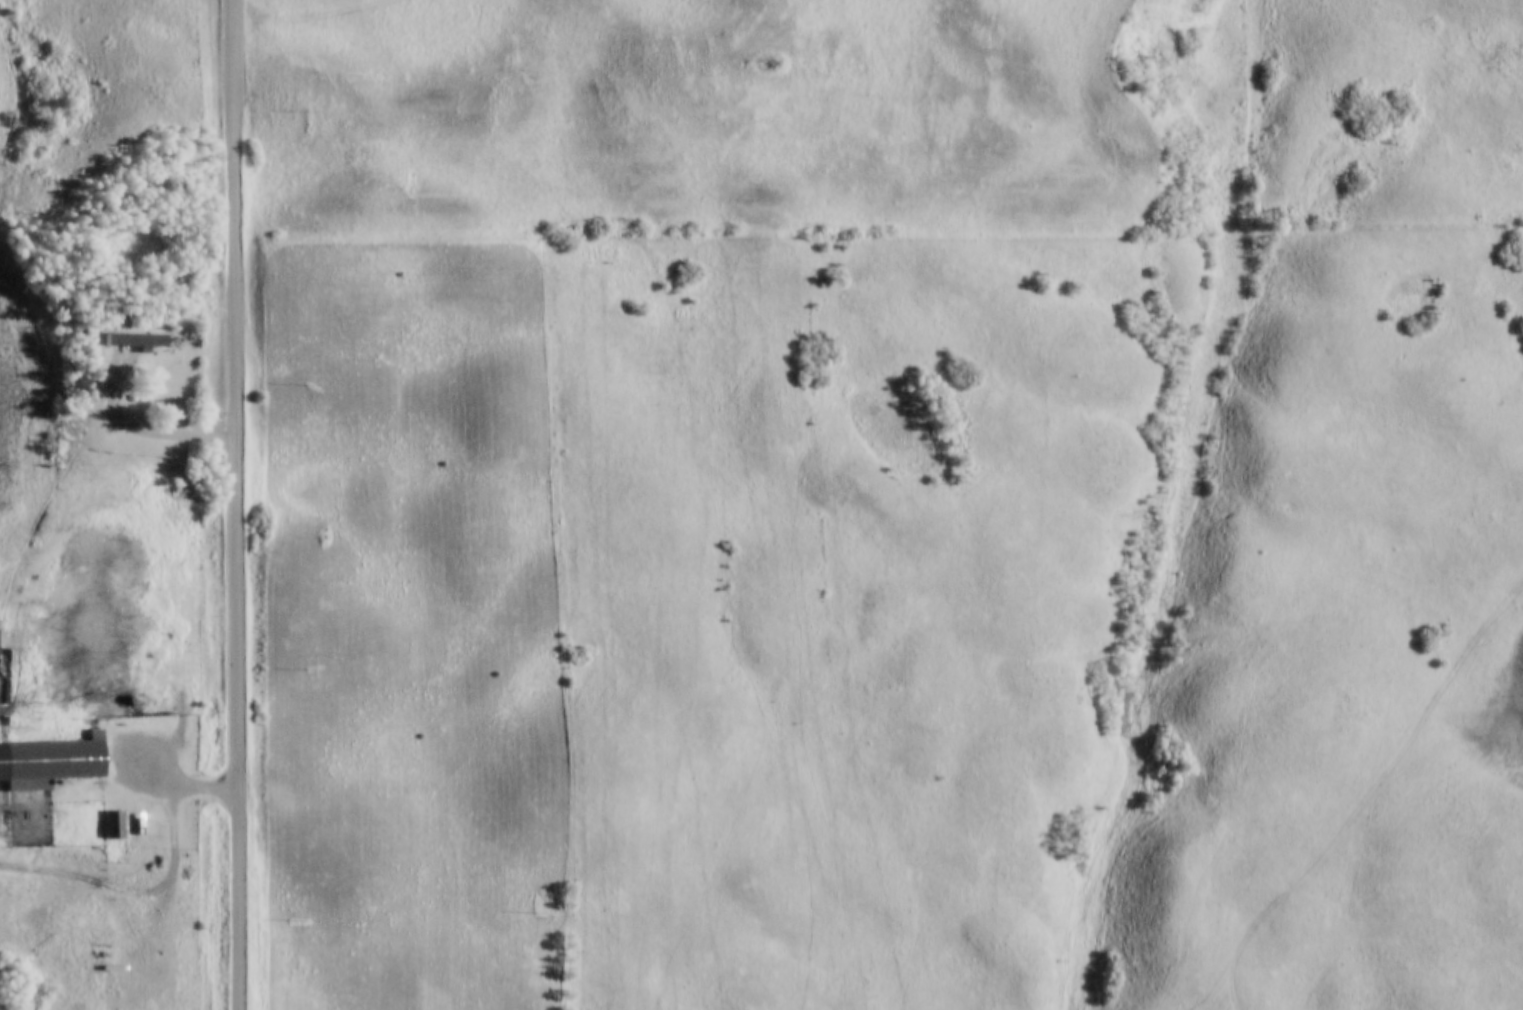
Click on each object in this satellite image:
building: (131, 338)
road: (133, 412)
building: (182, 485)
road: (236, 504)
building: (53, 758)
road: (118, 766)
building: (114, 822)

